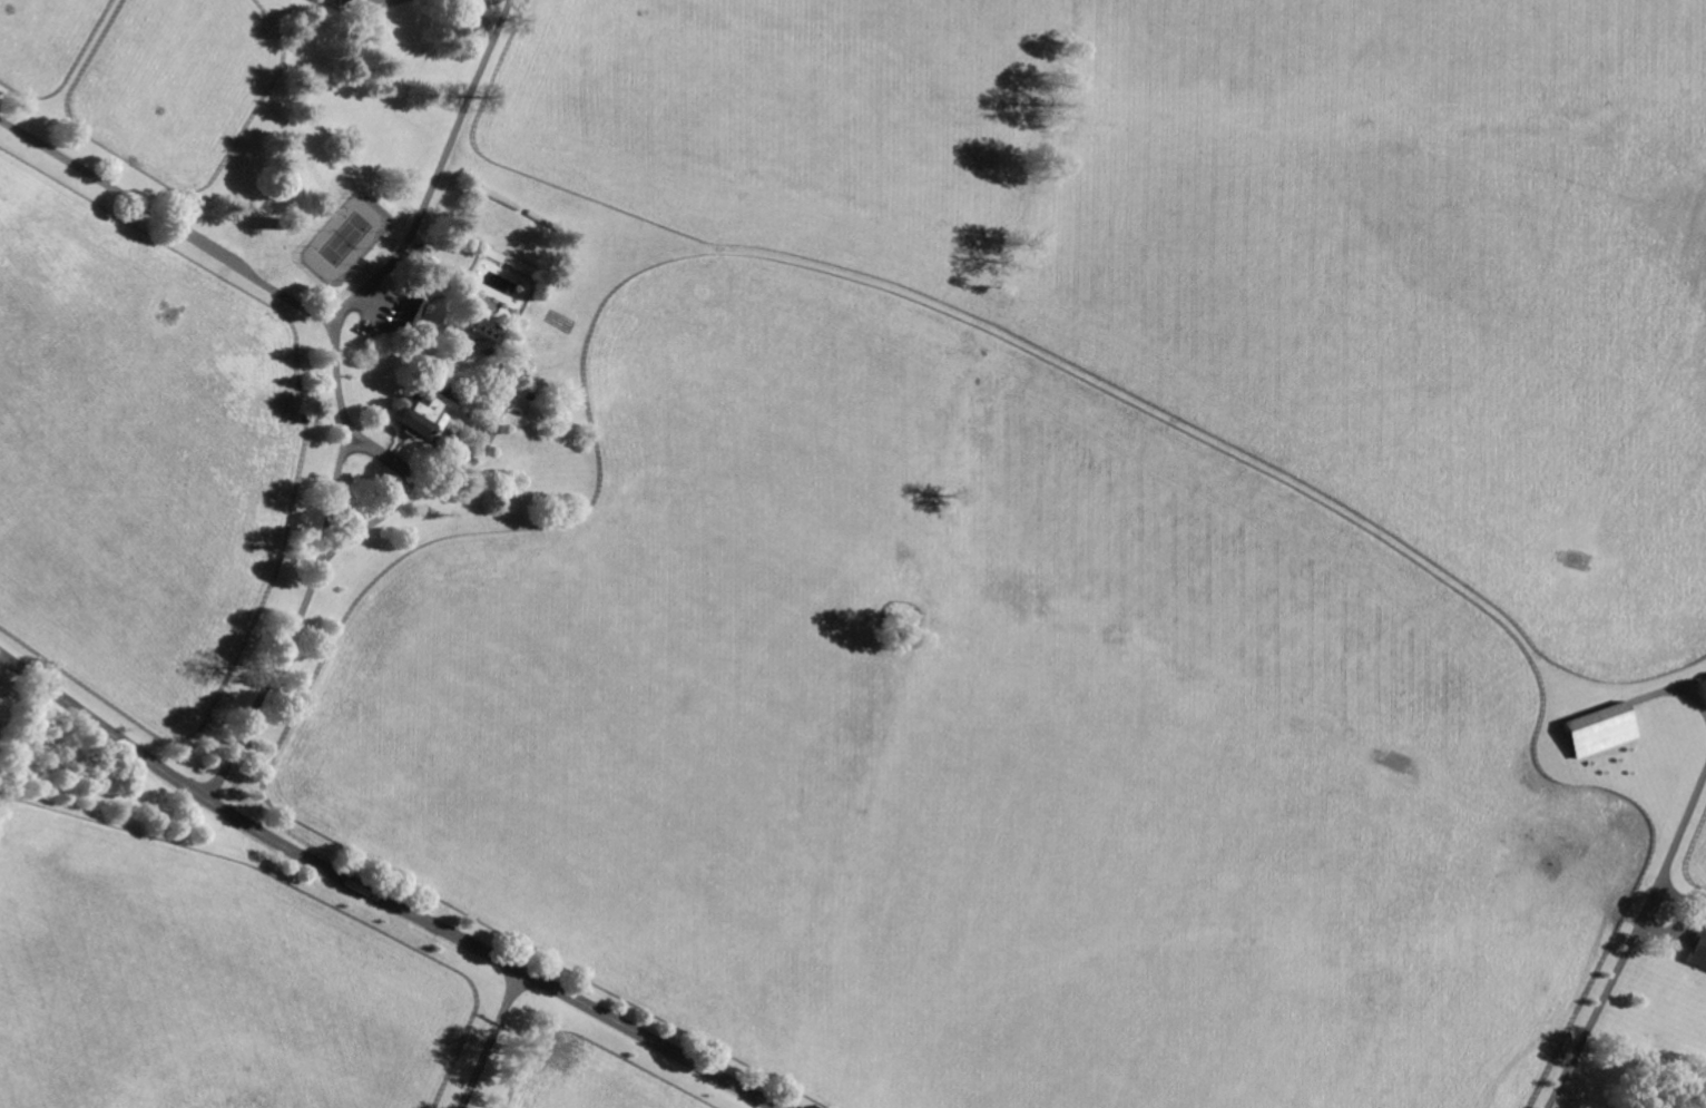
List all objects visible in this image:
road: (389, 0)
building: (335, 1)
road: (478, 8)
road: (167, 220)
building: (410, 313)
building: (482, 335)
road: (337, 388)
building: (425, 413)
road: (357, 627)
road: (1689, 682)
road: (1673, 690)
building: (1602, 728)
road: (379, 895)
road: (1630, 942)
building: (1699, 950)
road: (1645, 975)
road: (492, 1039)

